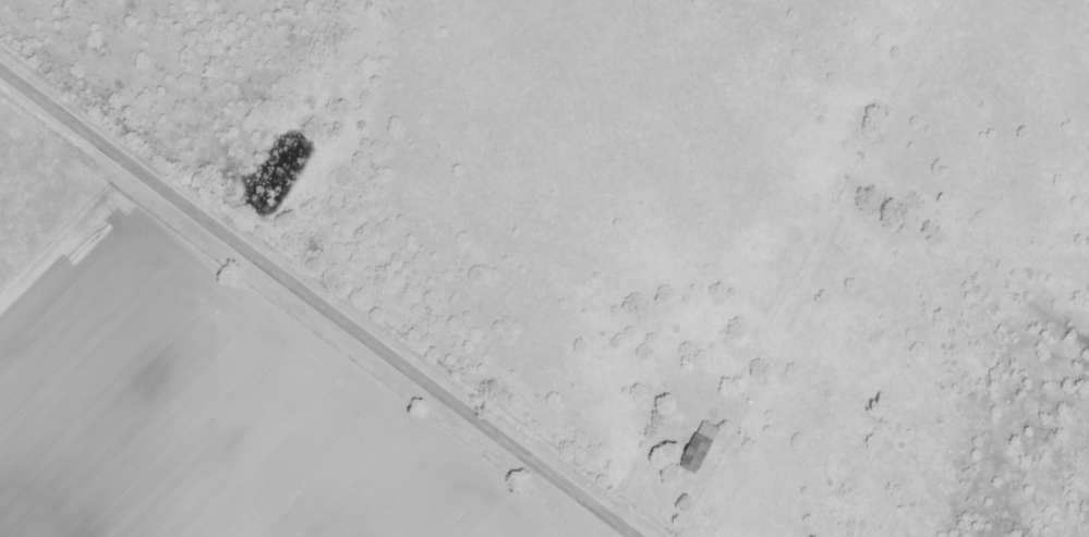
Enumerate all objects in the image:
road: (317, 303)
building: (699, 449)

